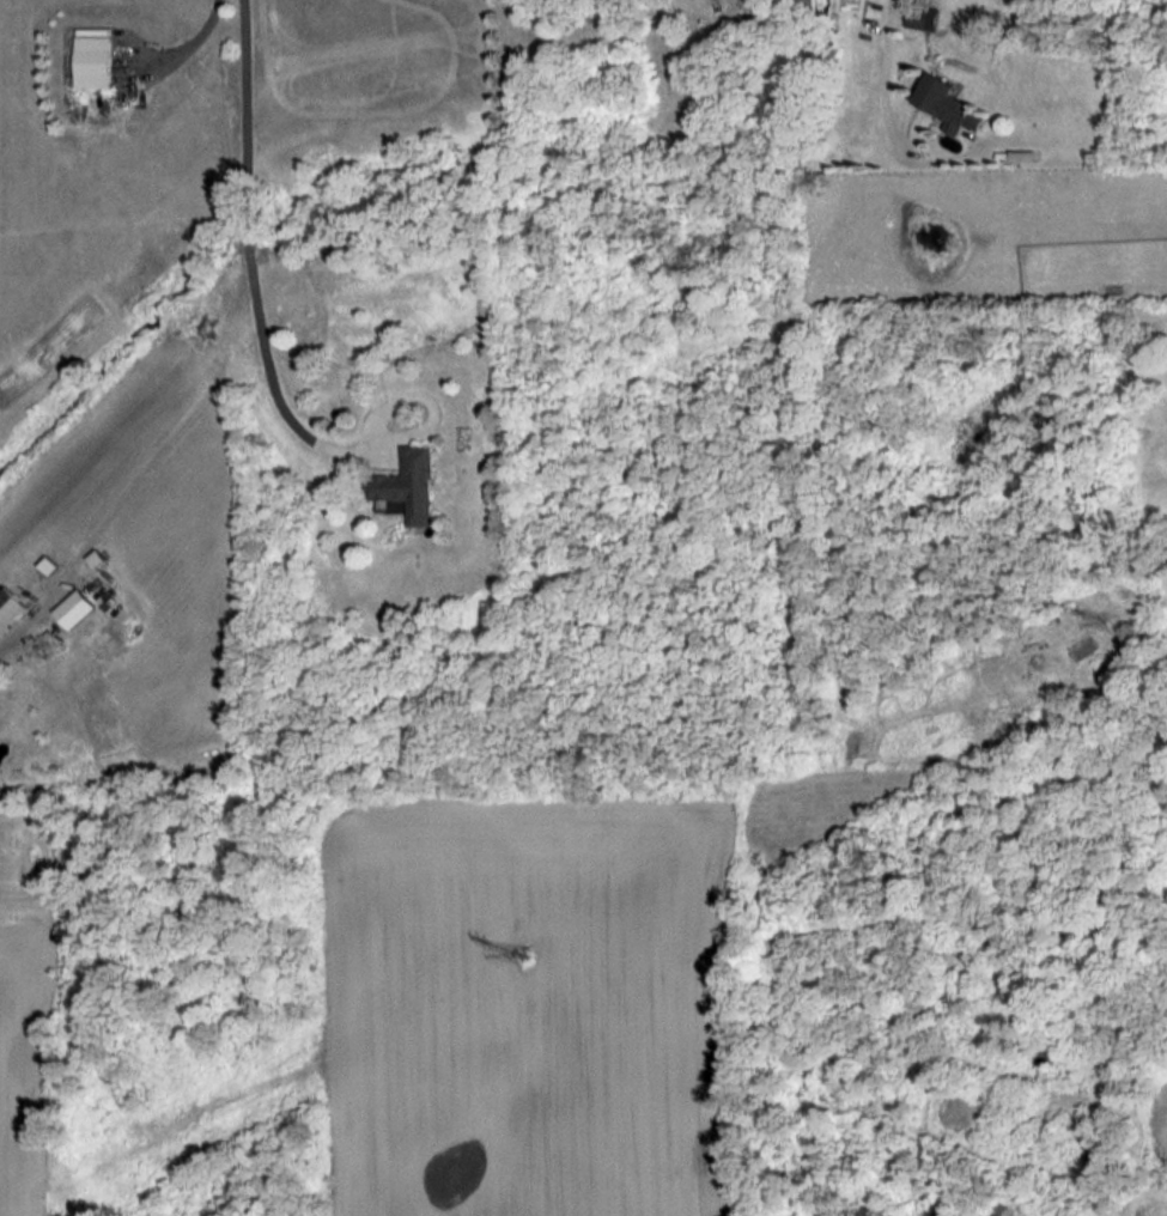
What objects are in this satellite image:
building: (924, 16)
road: (195, 36)
building: (93, 56)
road: (885, 63)
building: (953, 103)
road: (248, 254)
building: (411, 484)
building: (11, 607)
building: (77, 607)
power tower: (1093, 622)
road: (17, 630)
power tower: (521, 953)

